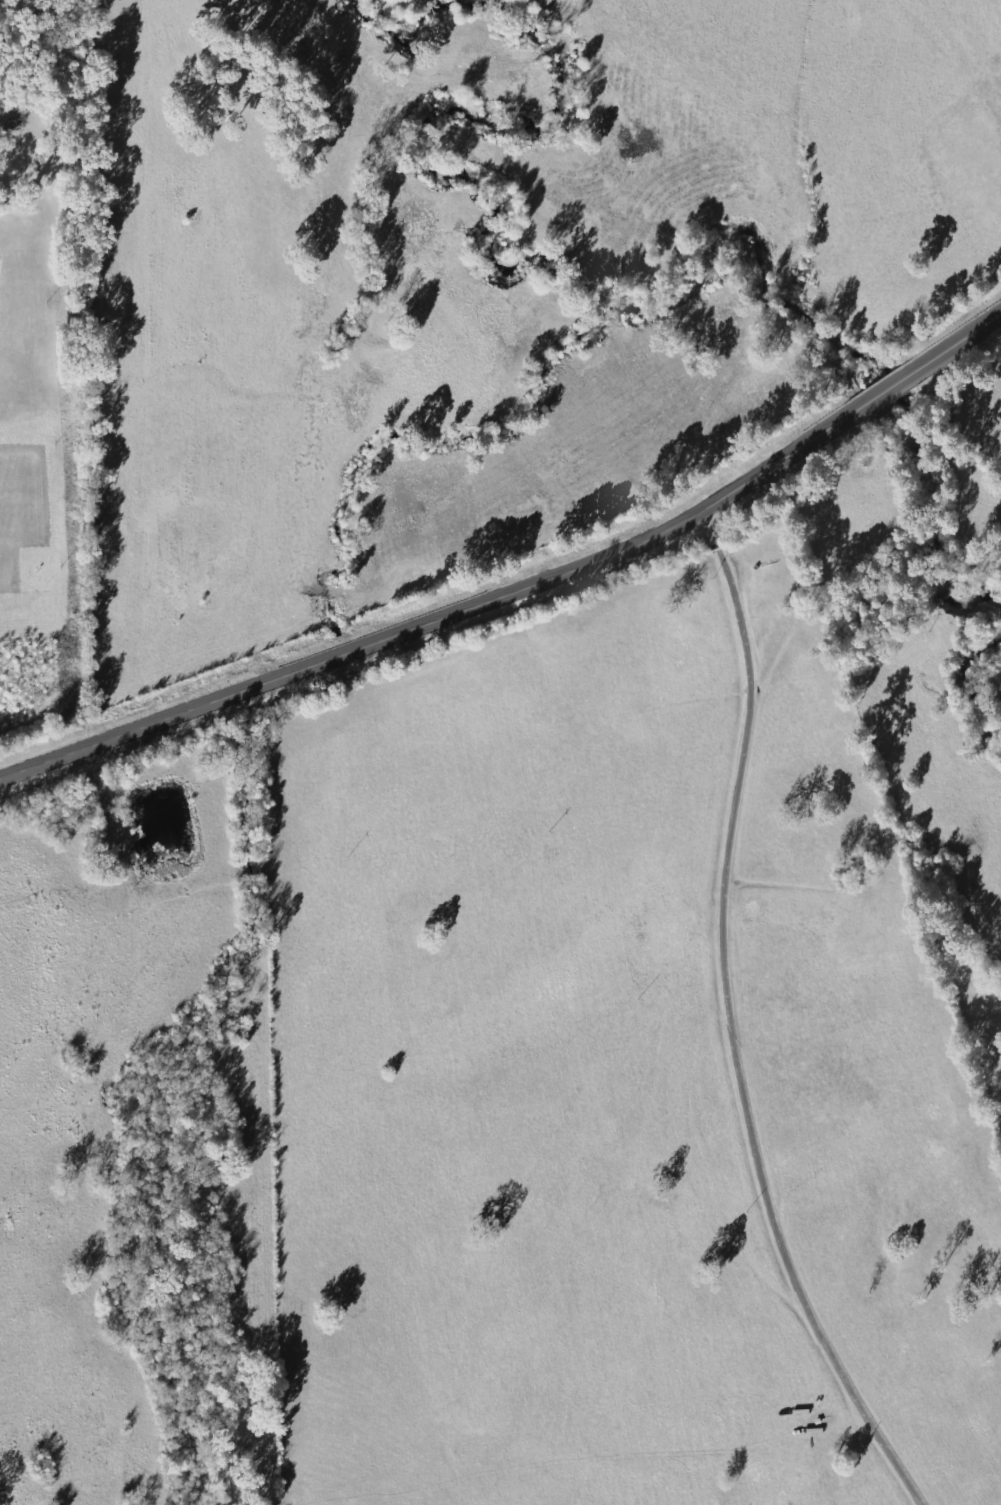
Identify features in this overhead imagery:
road: (956, 342)
road: (882, 391)
road: (438, 618)
road: (728, 1023)

